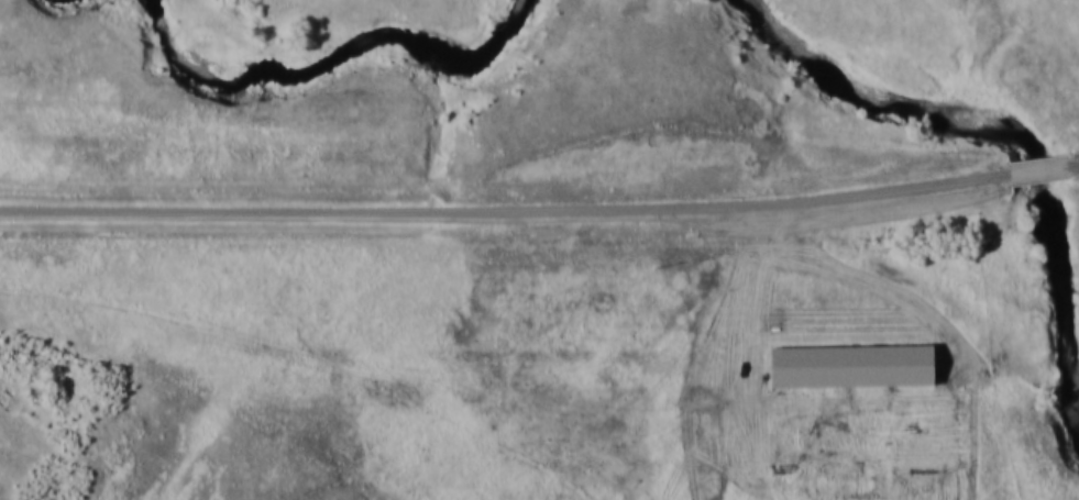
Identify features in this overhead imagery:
road: (1064, 23)
river: (329, 63)
river: (1013, 138)
road: (1074, 164)
road: (1039, 169)
road: (505, 211)
road: (276, 330)
building: (843, 358)

